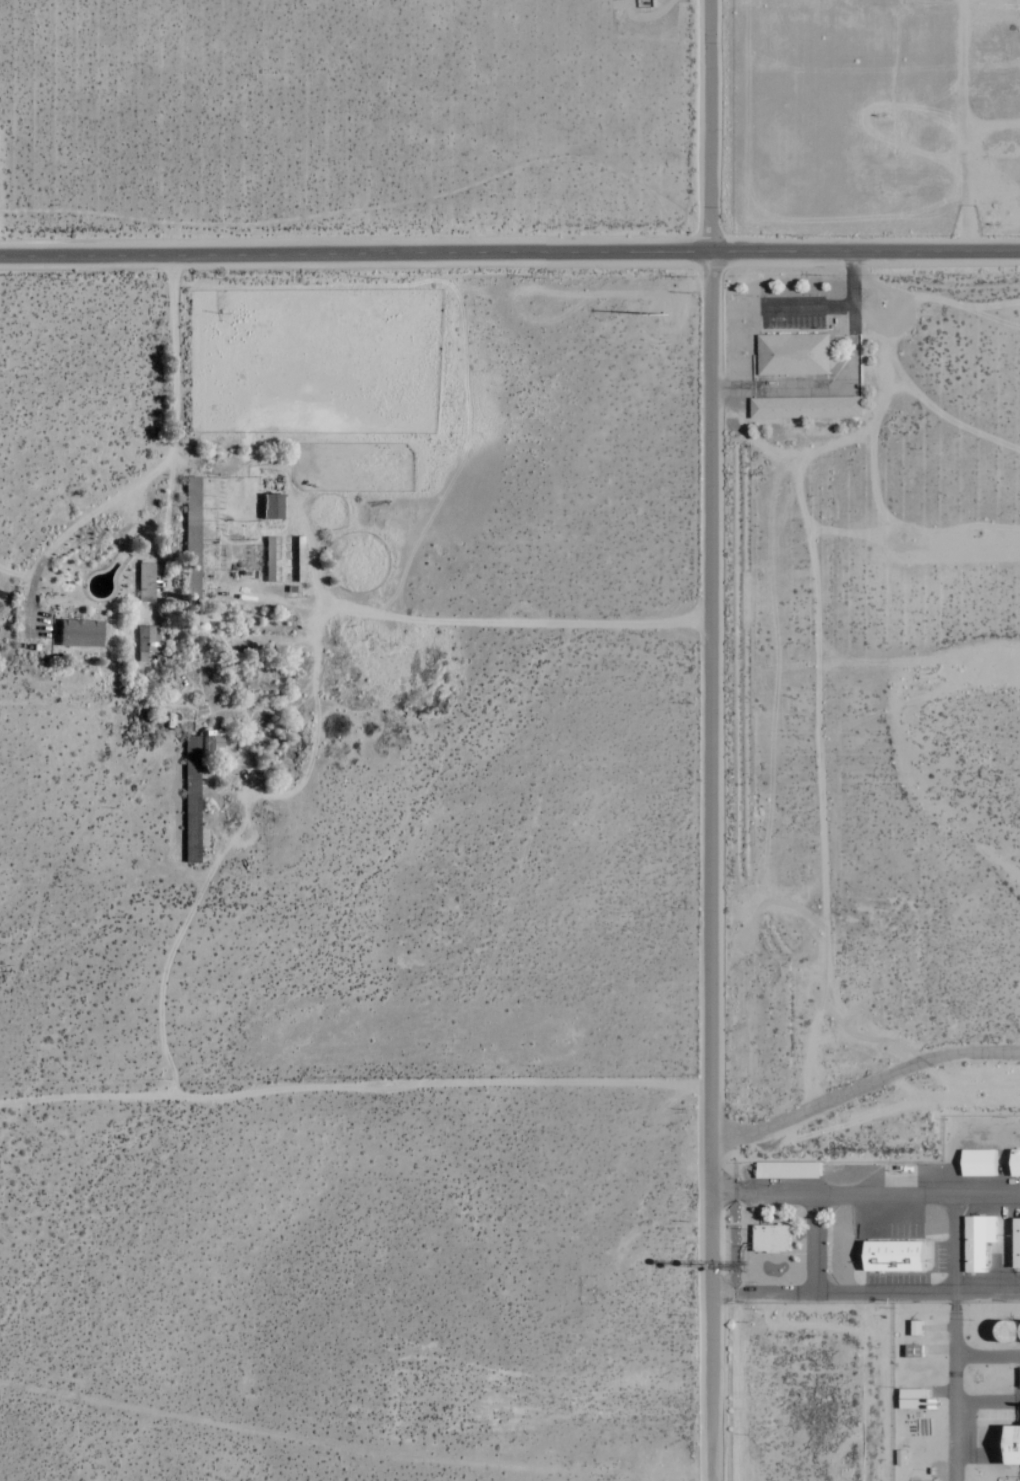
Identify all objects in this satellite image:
road: (710, 125)
road: (509, 251)
building: (795, 354)
building: (809, 407)
road: (173, 449)
building: (272, 507)
road: (16, 573)
building: (146, 583)
road: (29, 606)
road: (512, 621)
building: (148, 641)
road: (707, 865)
road: (353, 1082)
road: (863, 1082)
building: (983, 1163)
building: (1018, 1163)
building: (790, 1170)
road: (834, 1192)
road: (988, 1194)
building: (773, 1238)
building: (980, 1242)
building: (1019, 1244)
building: (901, 1256)
road: (765, 1292)
road: (866, 1294)
road: (955, 1337)
building: (917, 1352)
road: (987, 1355)
building: (916, 1399)
building: (1017, 1446)

